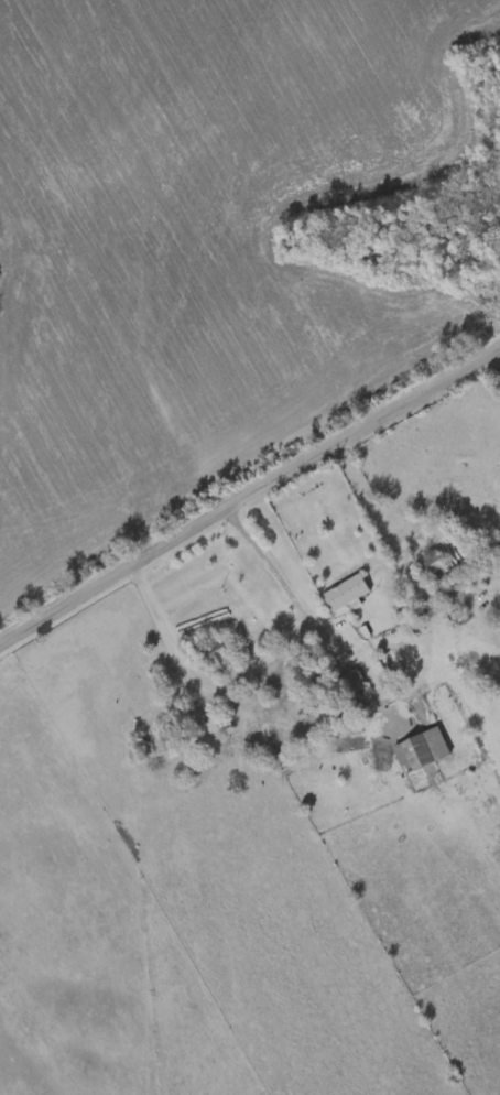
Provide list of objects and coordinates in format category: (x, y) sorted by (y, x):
road: (496, 368)
road: (249, 502)
building: (434, 565)
road: (410, 566)
road: (272, 567)
building: (348, 592)
building: (270, 601)
road: (166, 626)
building: (222, 661)
building: (355, 682)
building: (422, 749)

